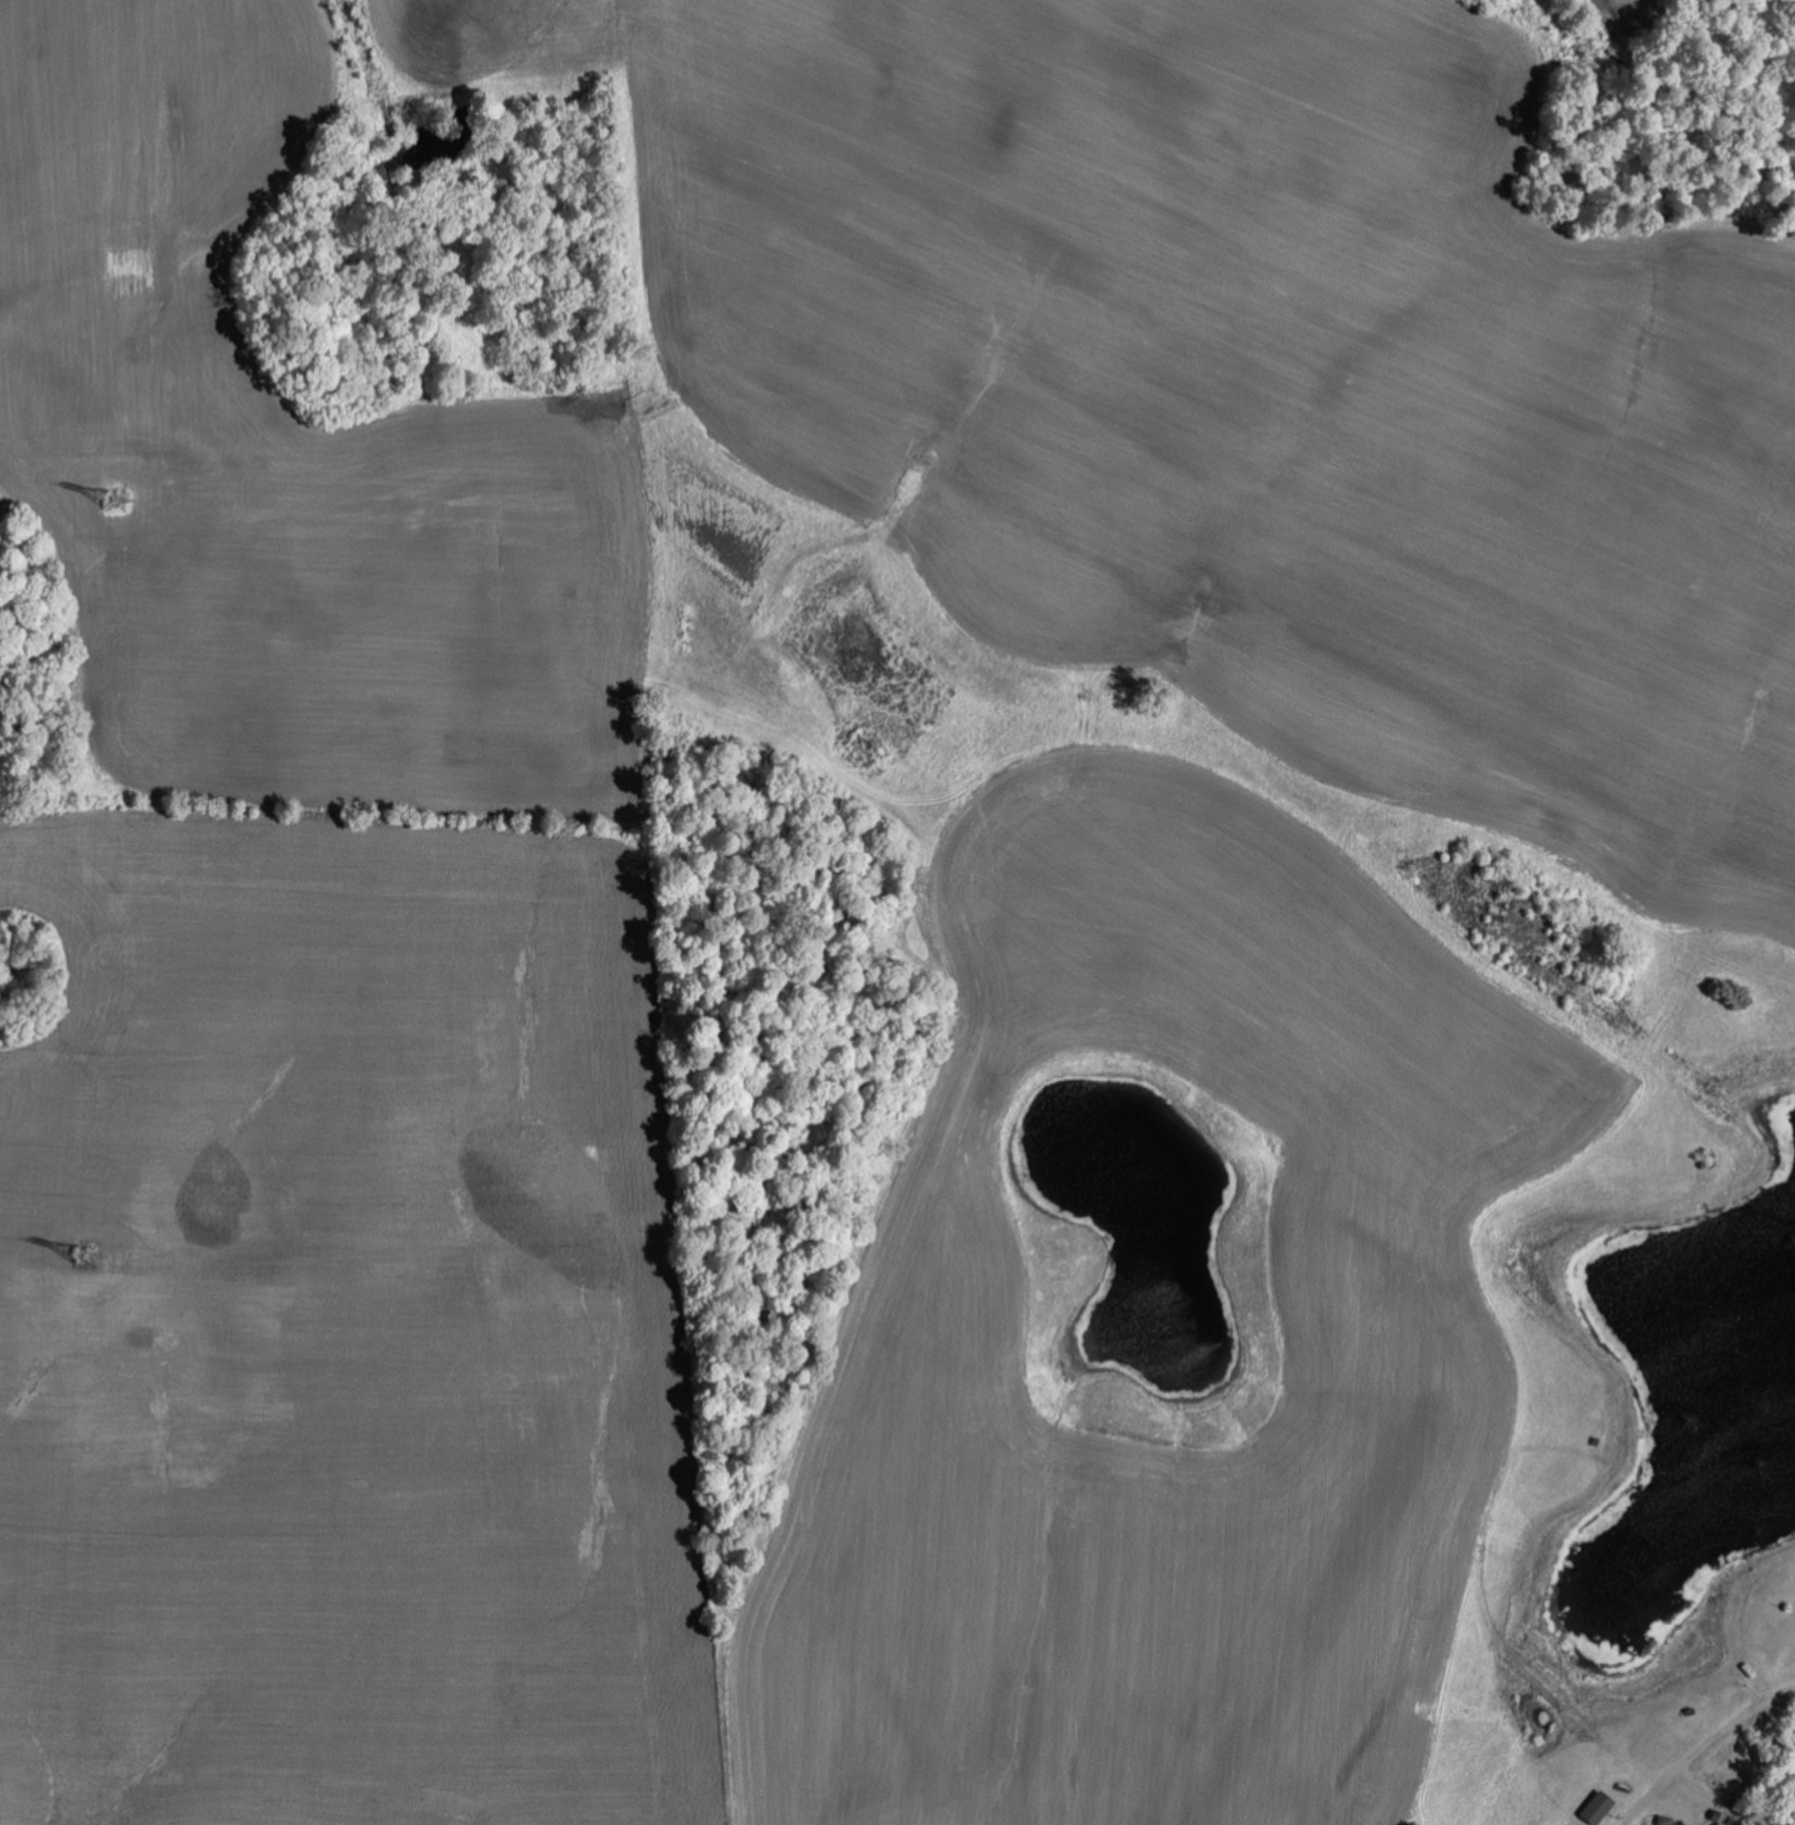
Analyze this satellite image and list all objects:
power tower: (124, 512)
power tower: (77, 1260)
road: (1699, 1743)
building: (1602, 1807)

